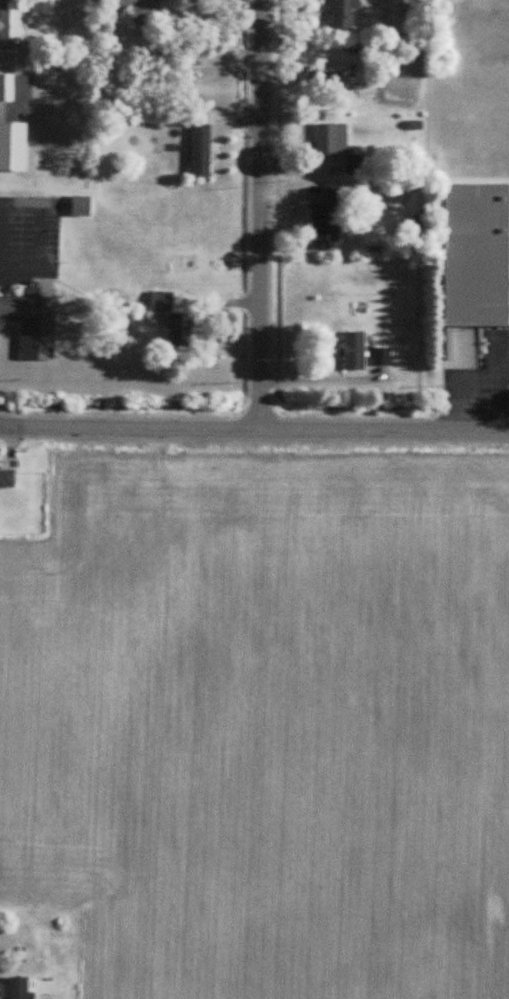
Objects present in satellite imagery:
building: (137, 6)
building: (343, 14)
building: (12, 21)
building: (351, 82)
building: (7, 87)
building: (331, 139)
building: (13, 146)
building: (201, 151)
building: (354, 164)
building: (81, 206)
building: (328, 215)
road: (264, 217)
building: (477, 255)
building: (175, 319)
building: (34, 321)
building: (355, 351)
road: (254, 433)
building: (7, 478)
building: (20, 989)

